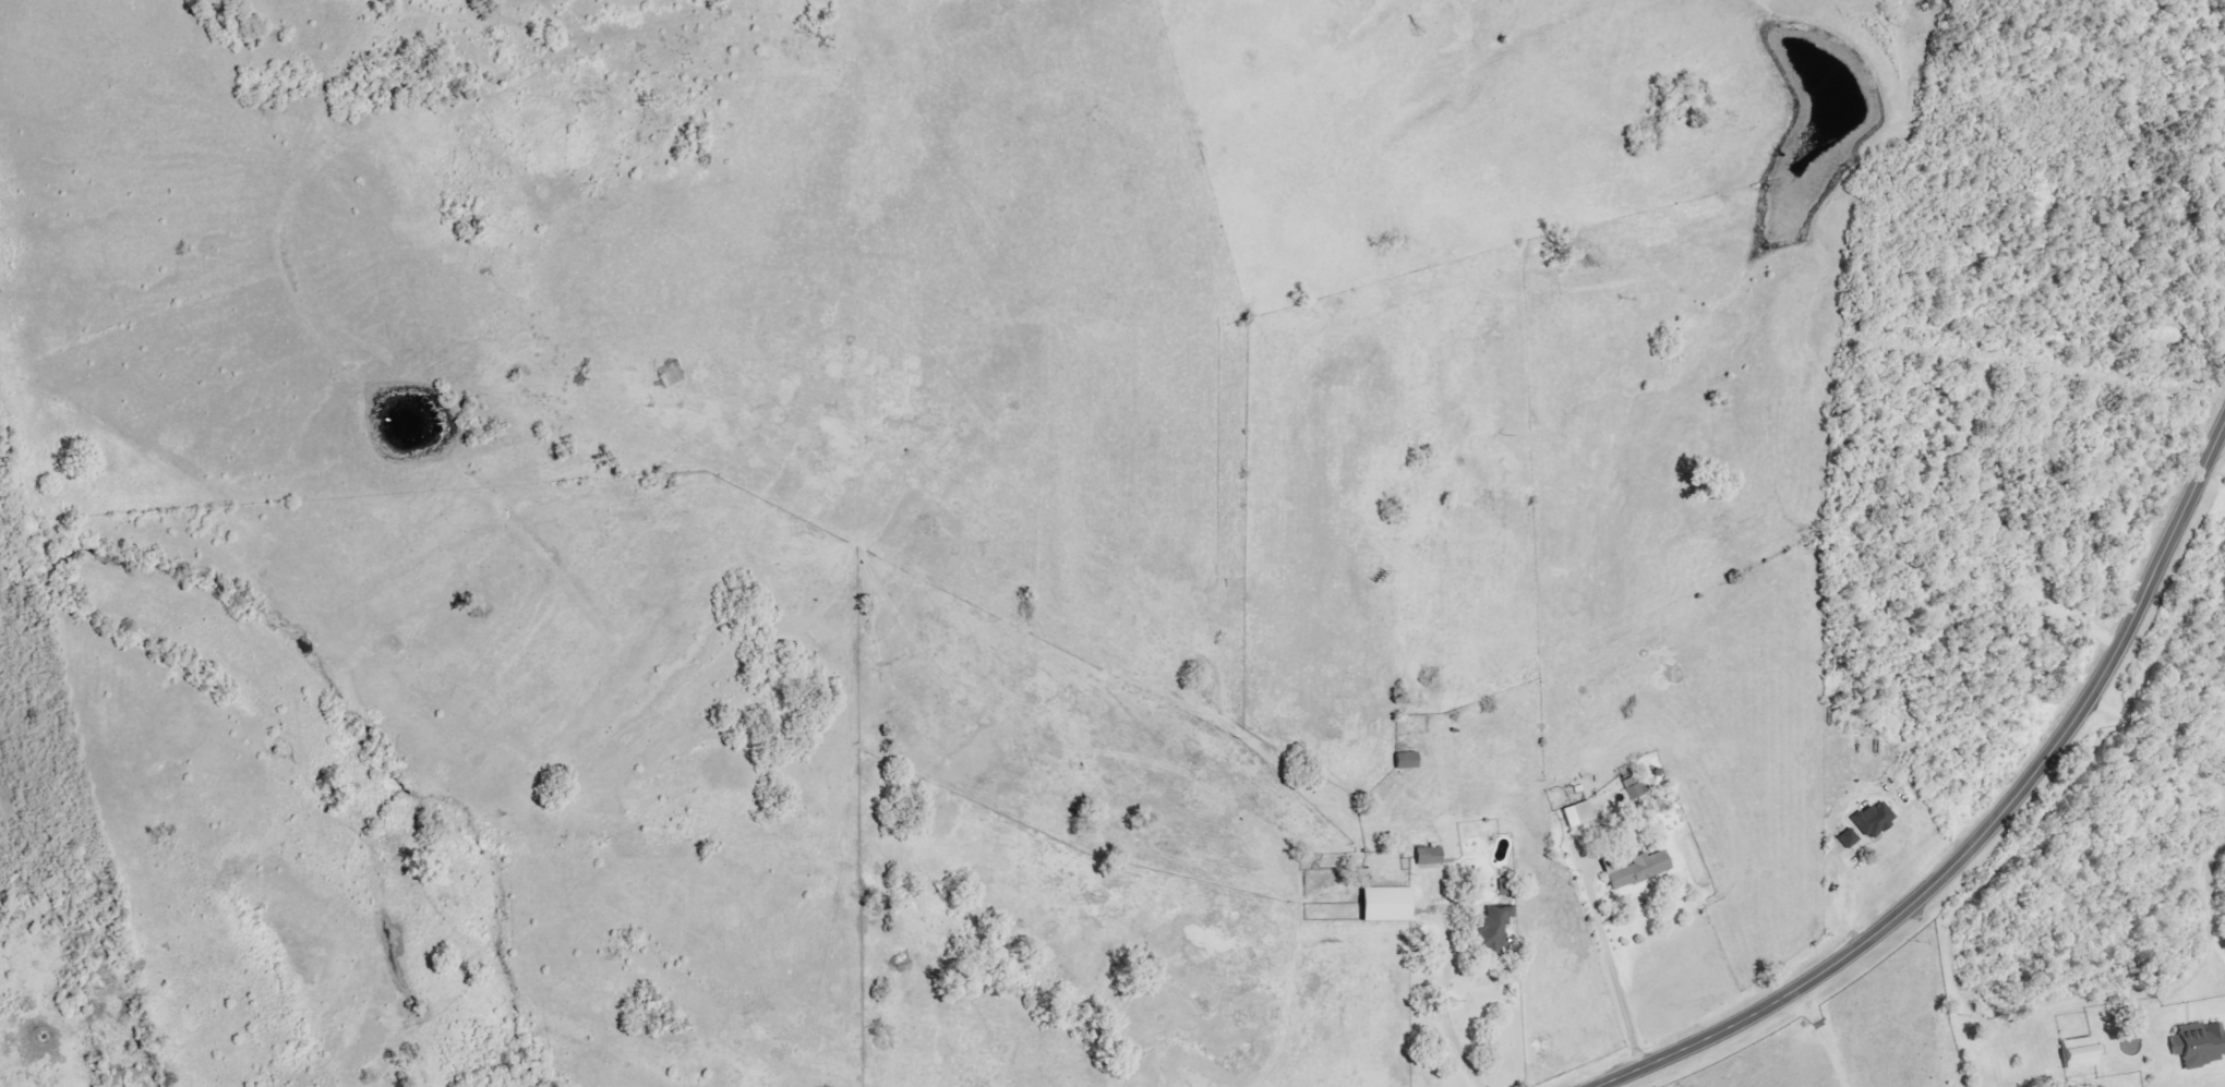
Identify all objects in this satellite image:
building: (1408, 760)
building: (1579, 813)
building: (1876, 819)
road: (1992, 830)
building: (1849, 838)
road: (2208, 856)
building: (1431, 857)
building: (1639, 869)
building: (1390, 904)
building: (1498, 927)
road: (1616, 970)
road: (1444, 1005)
building: (2200, 1044)

